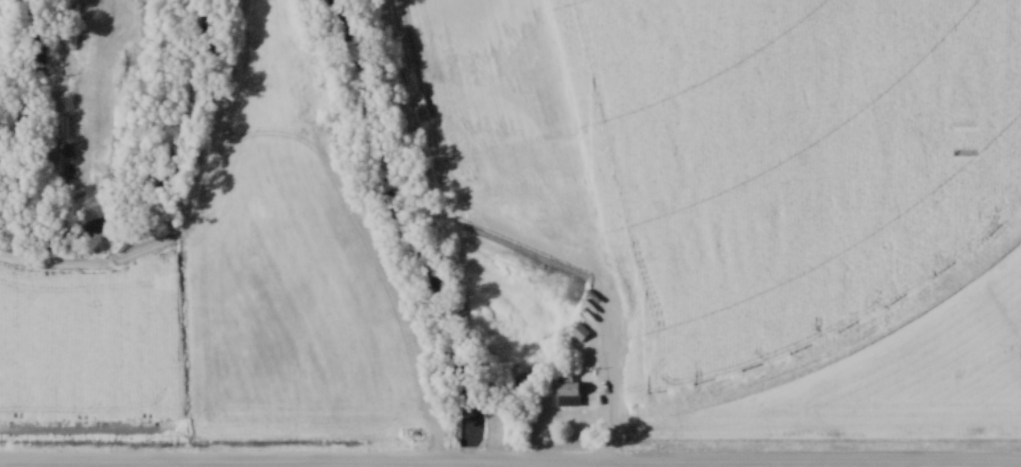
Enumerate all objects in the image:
building: (61, 0)
building: (70, 16)
building: (294, 67)
building: (60, 78)
building: (261, 81)
building: (54, 101)
building: (115, 116)
building: (59, 154)
road: (381, 274)
building: (567, 395)
road: (472, 461)
road: (753, 461)
road: (230, 463)

